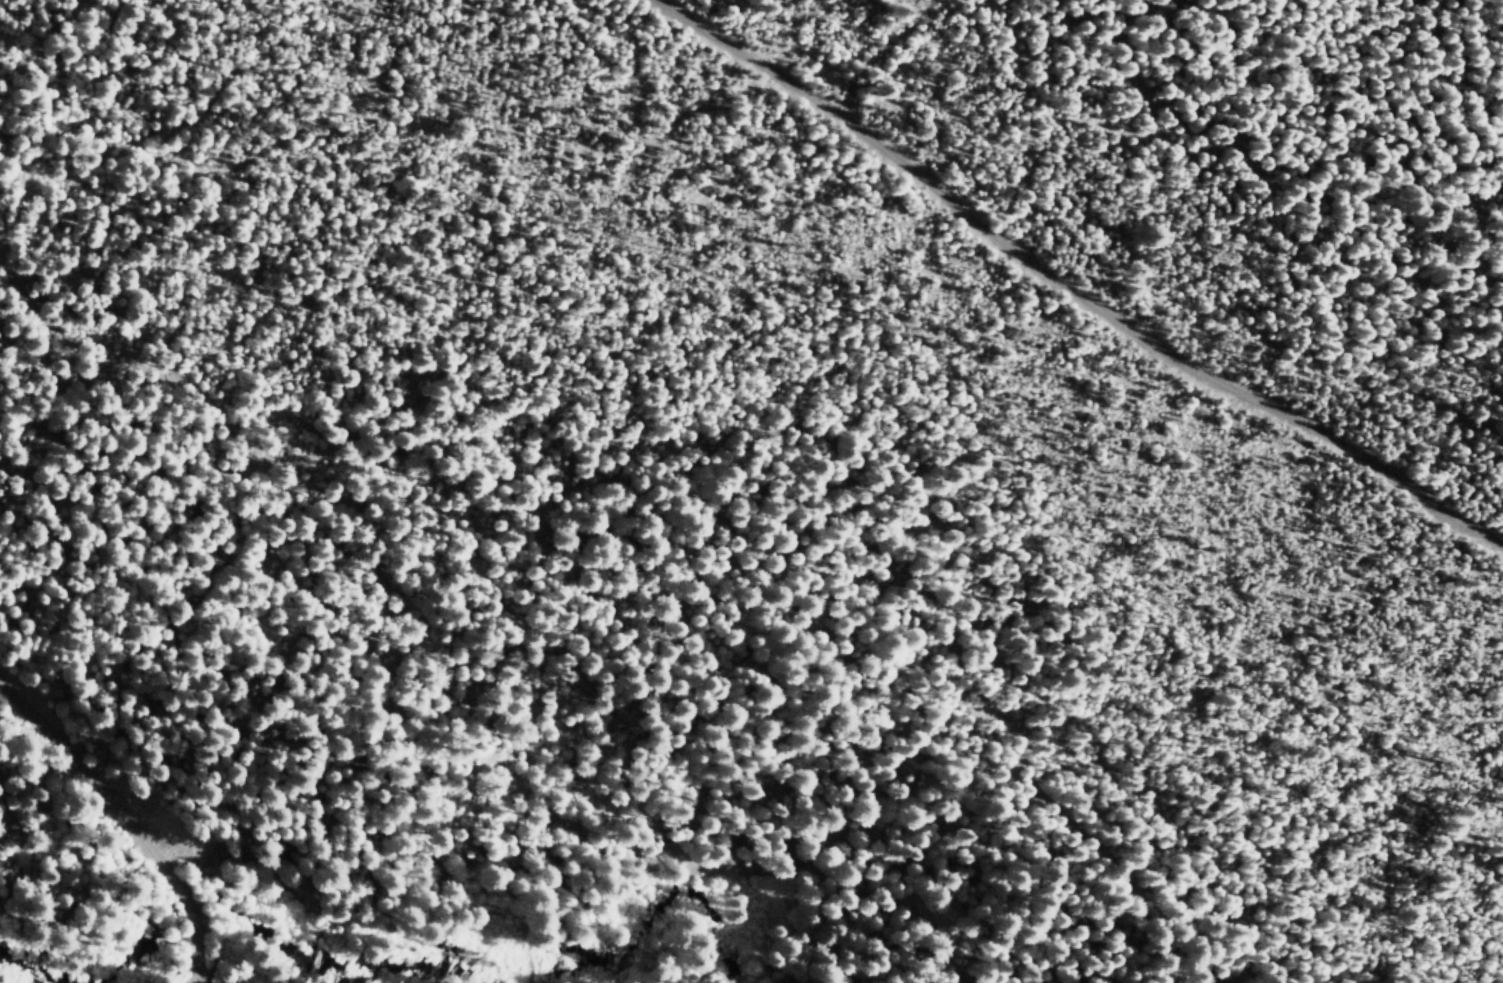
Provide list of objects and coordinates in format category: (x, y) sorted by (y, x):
road: (1067, 287)
road: (106, 807)
road: (179, 964)

